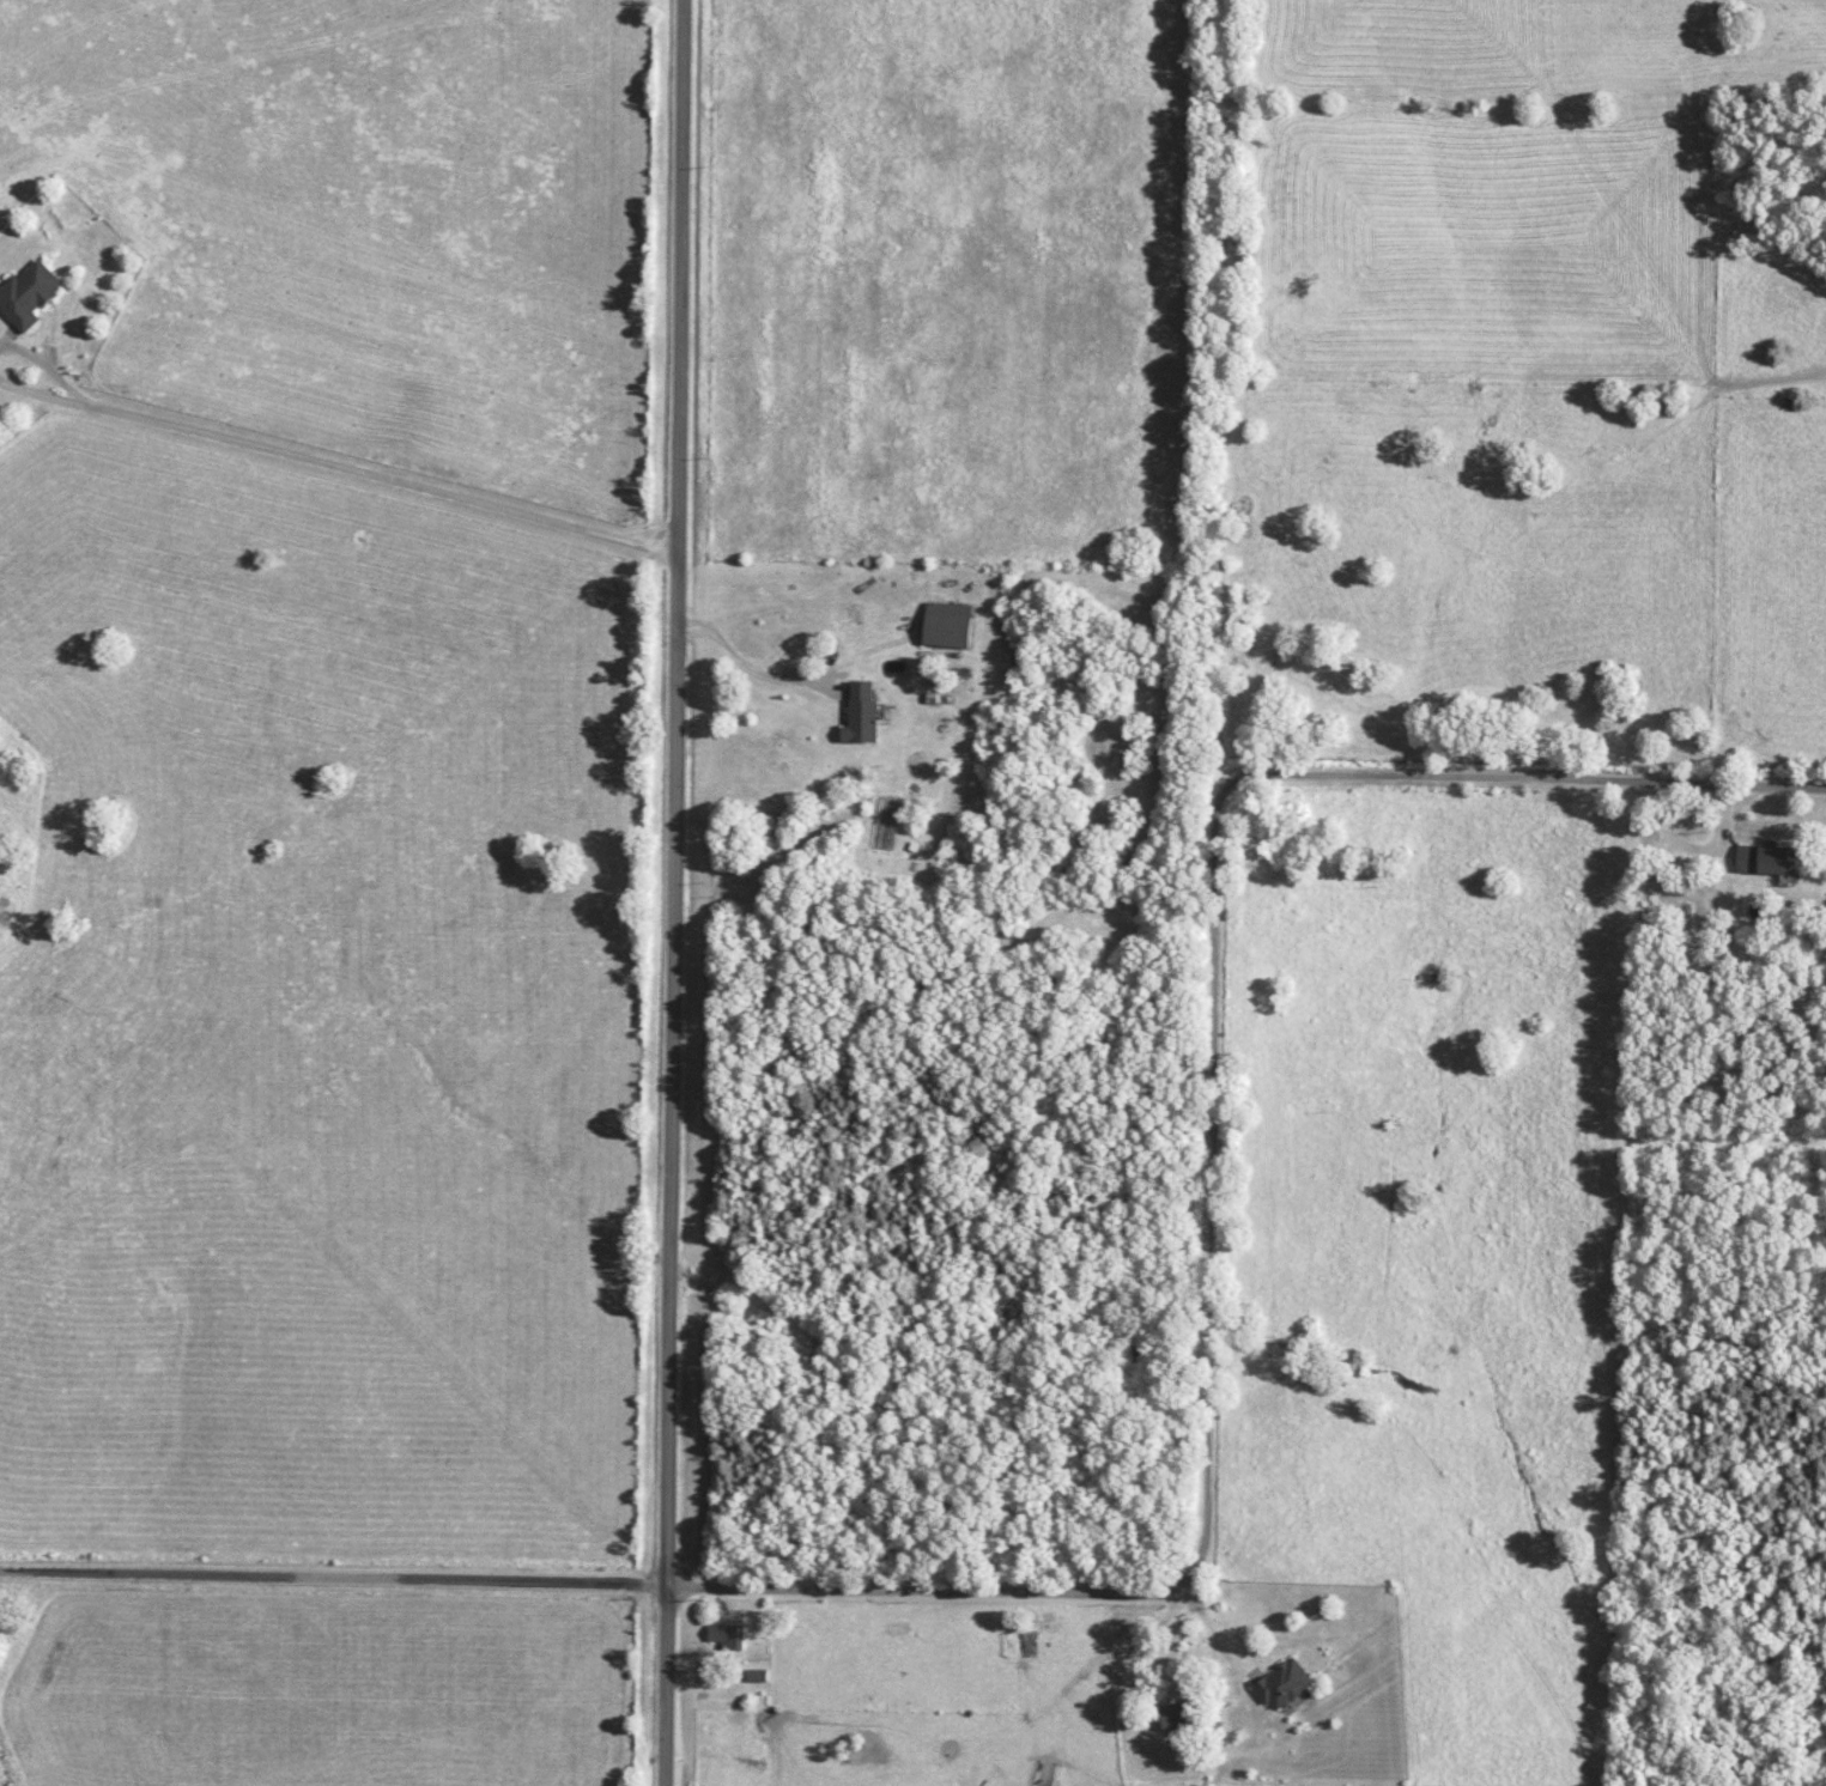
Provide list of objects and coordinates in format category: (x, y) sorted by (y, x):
building: (25, 293)
road: (81, 400)
road: (386, 480)
building: (944, 625)
road: (751, 668)
building: (857, 713)
road: (1558, 778)
building: (1763, 857)
road: (679, 893)
road: (1037, 1592)
building: (724, 1635)
building: (1025, 1642)
building: (756, 1676)
building: (1281, 1684)
building: (1175, 1717)

